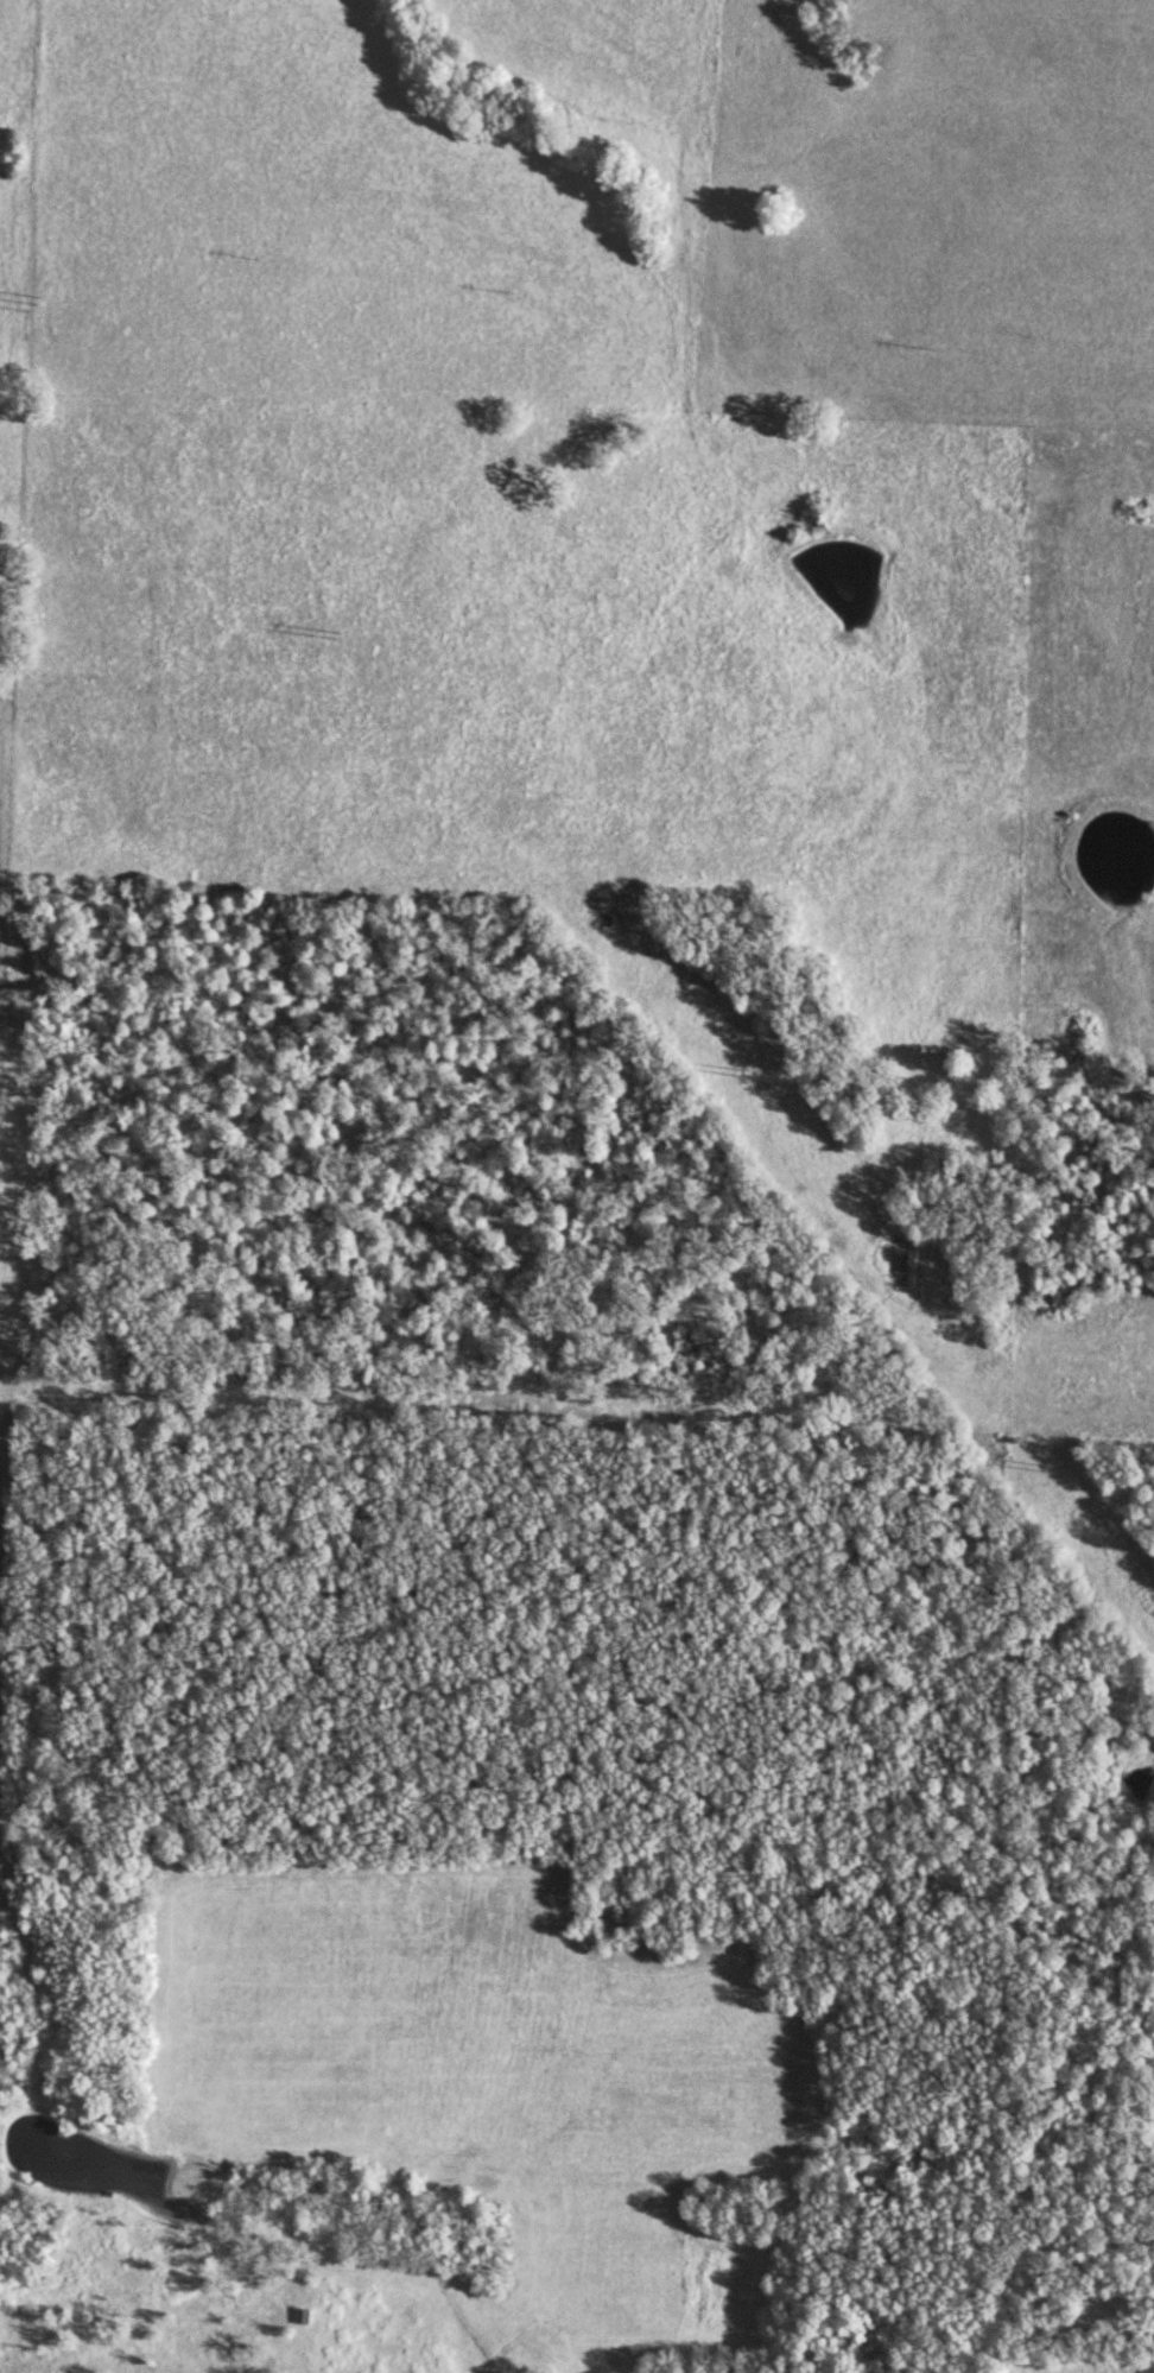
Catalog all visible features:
building: (303, 2315)
building: (19, 2323)
road: (37, 2361)

